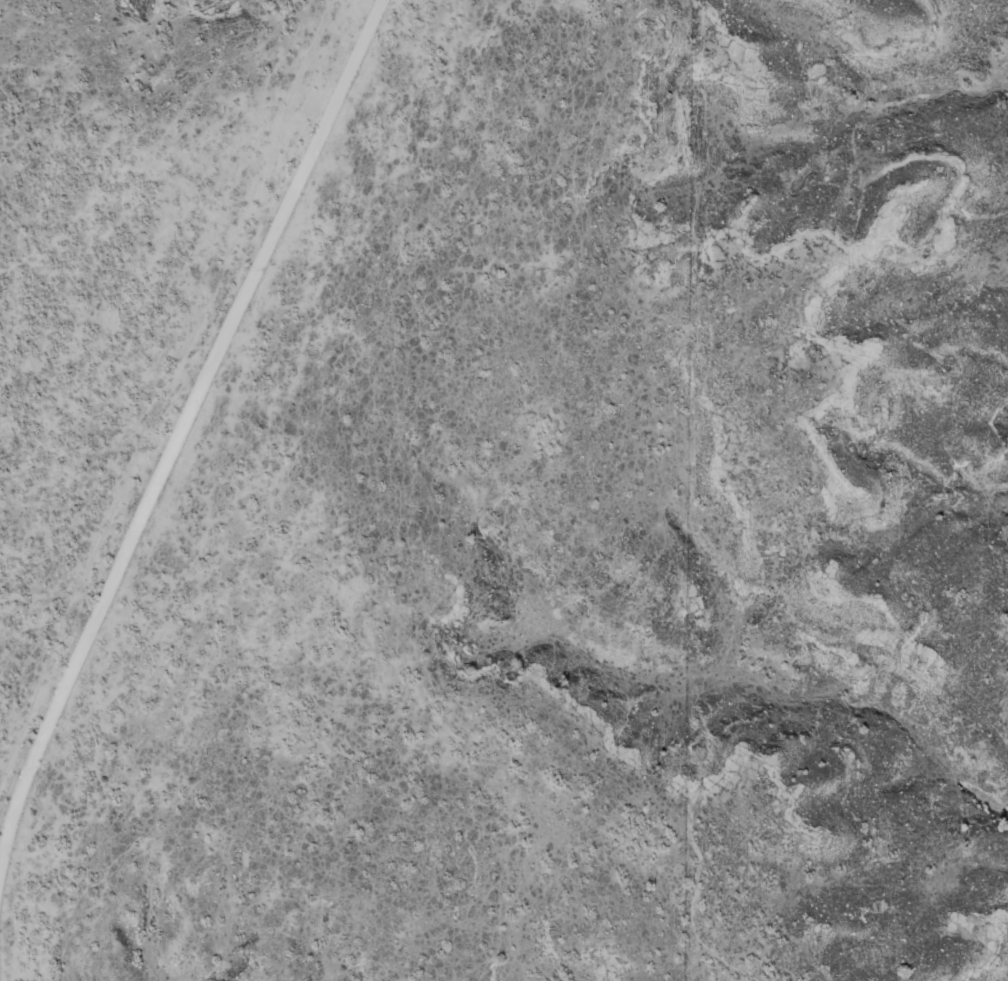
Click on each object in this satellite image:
road: (182, 421)

